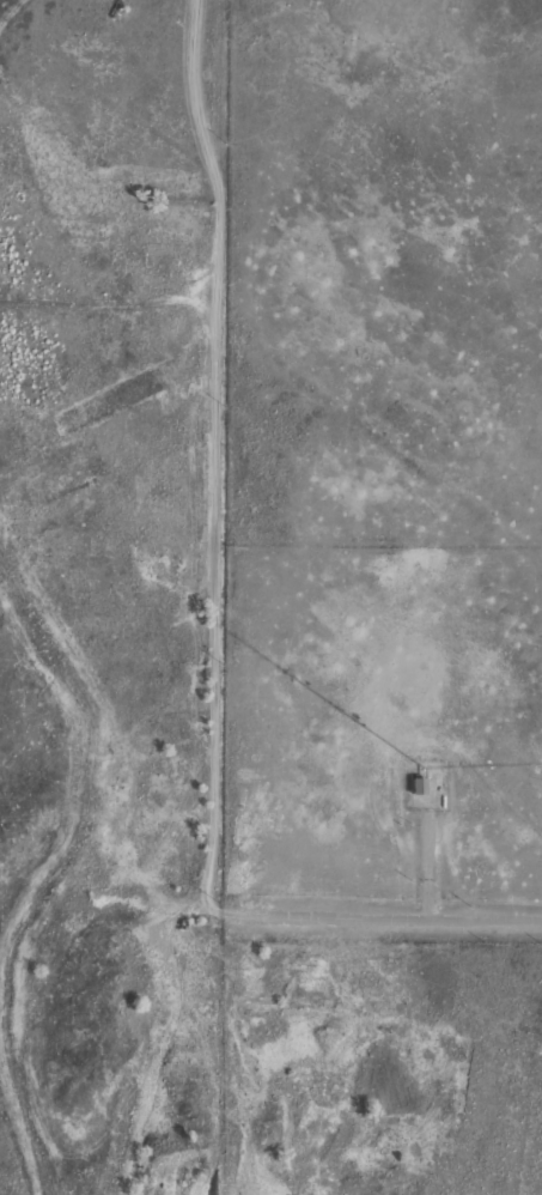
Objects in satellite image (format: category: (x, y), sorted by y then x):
road: (392, 917)

